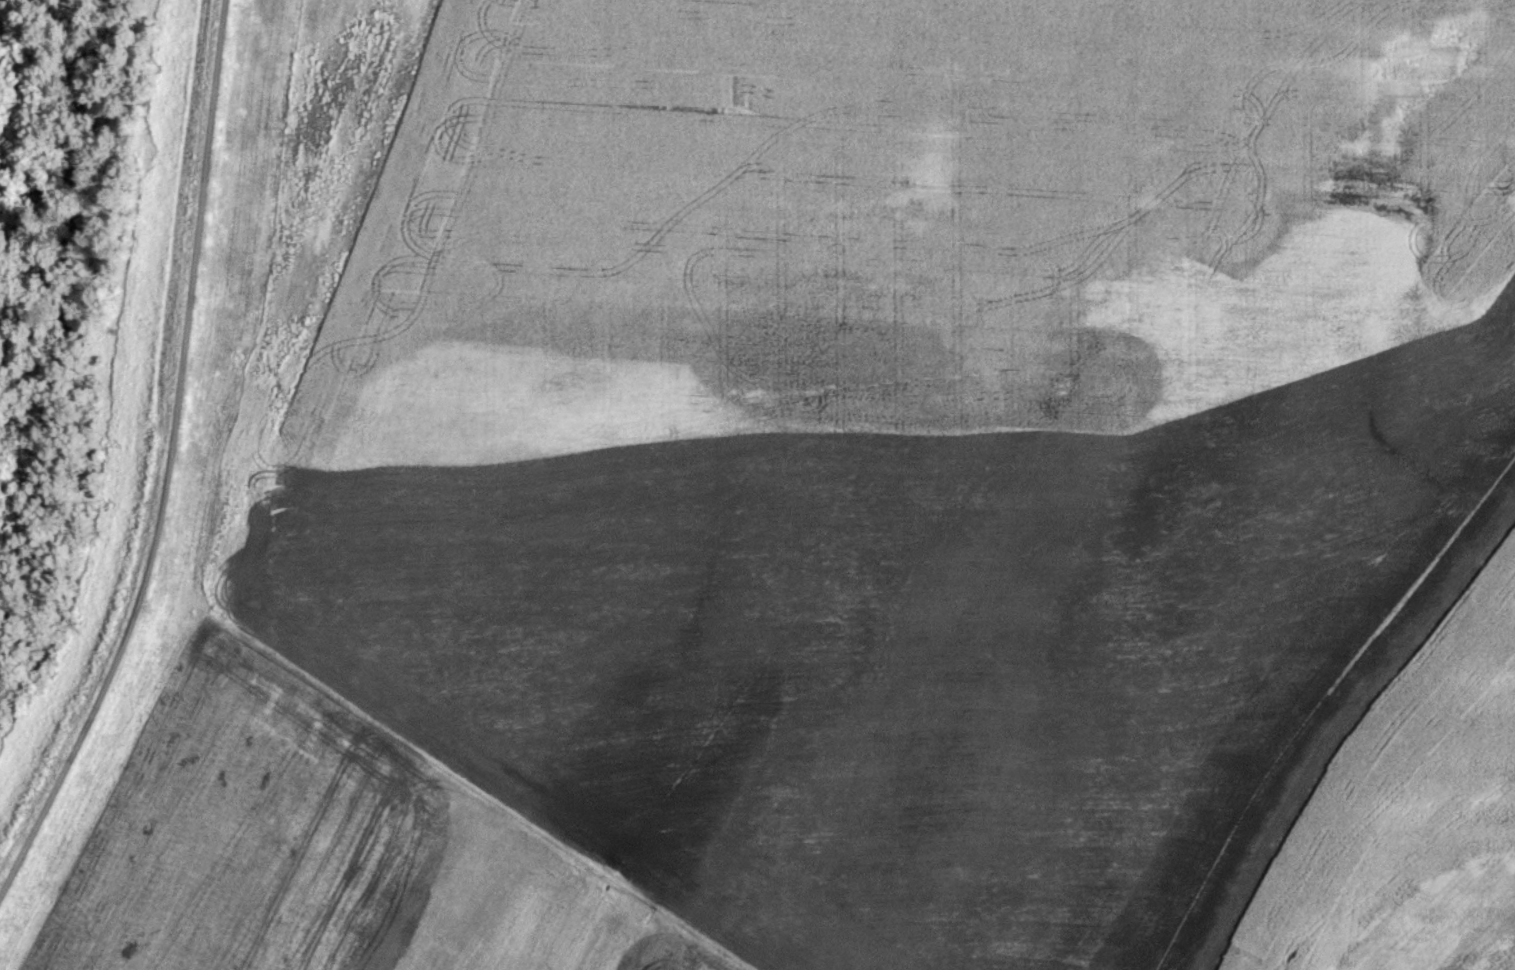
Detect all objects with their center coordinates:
road: (168, 463)

